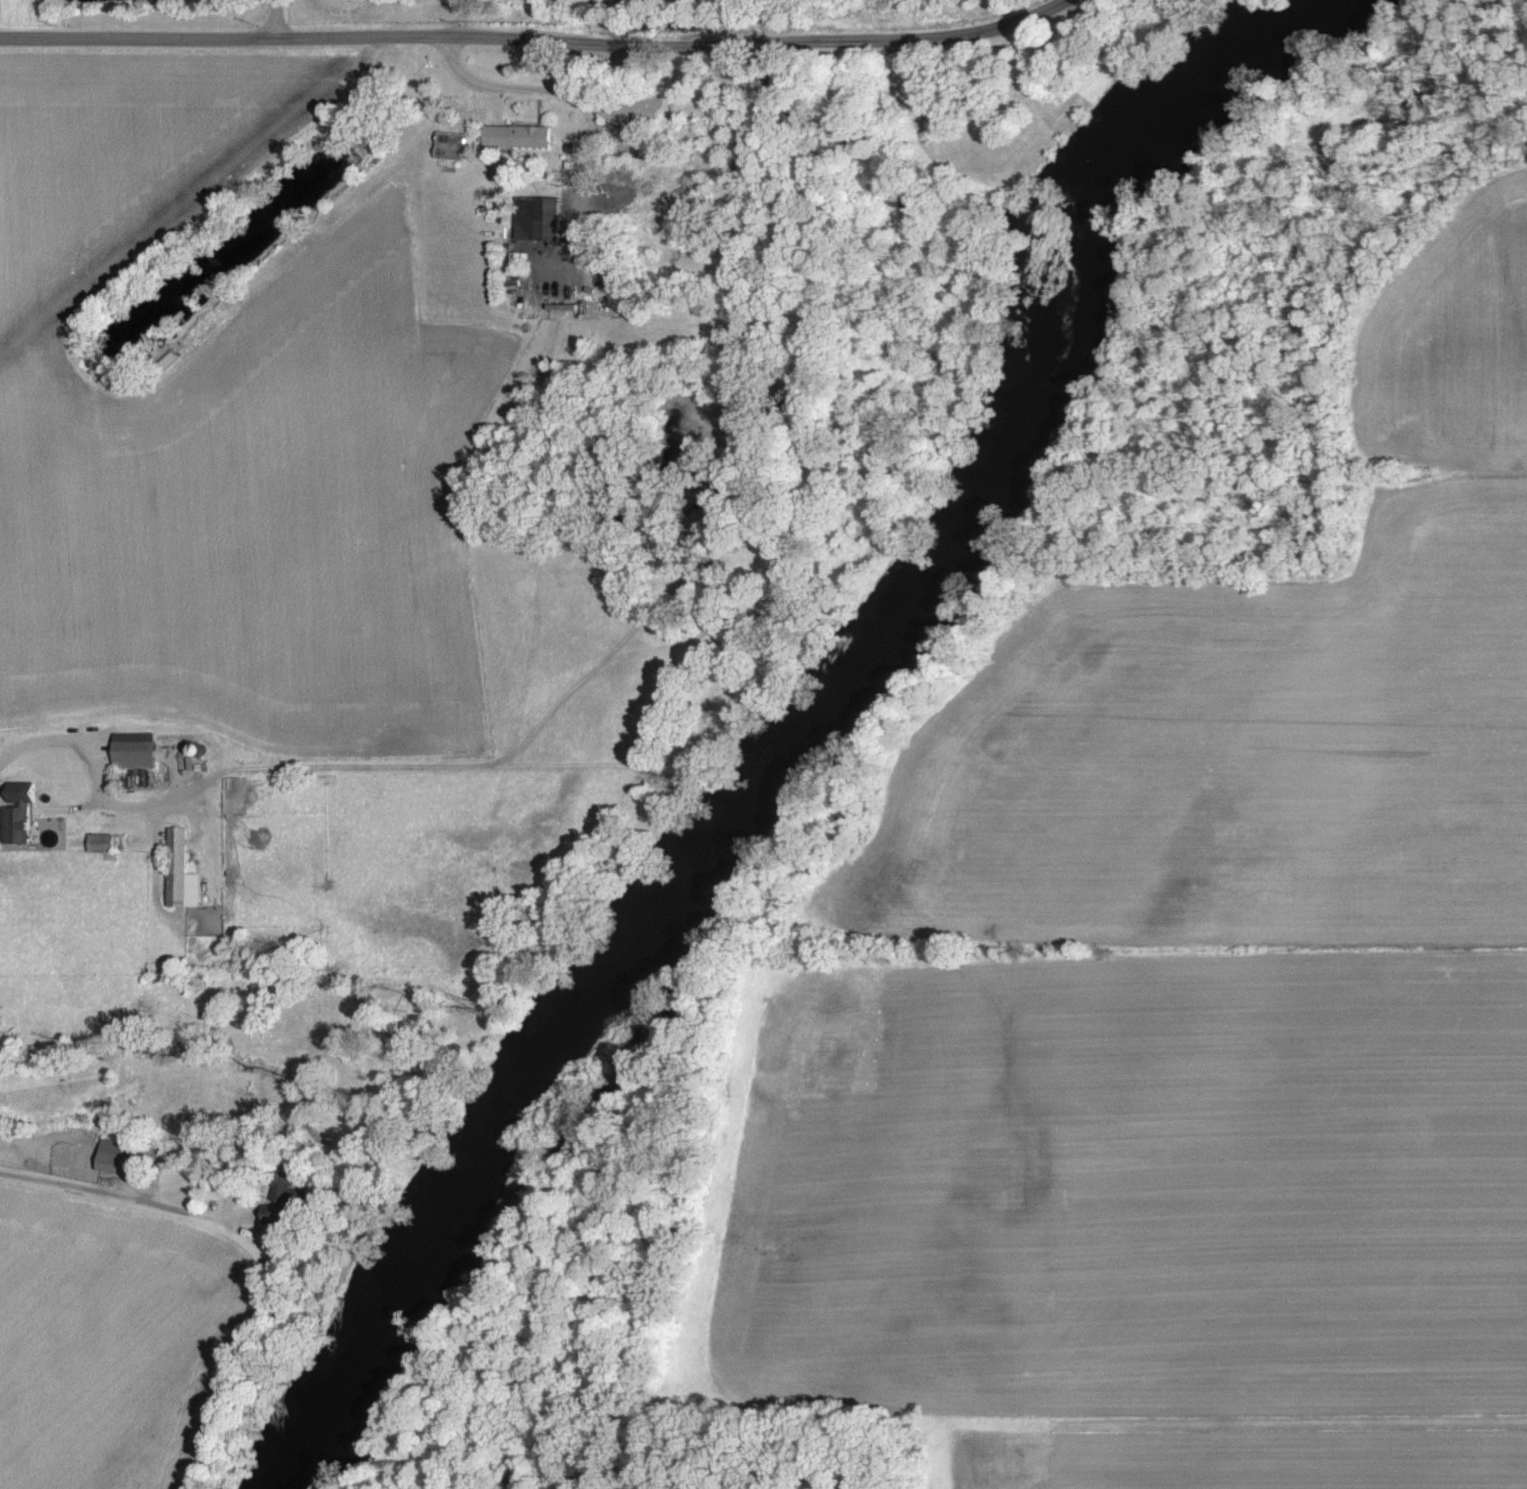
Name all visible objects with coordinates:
road: (276, 18)
road: (138, 37)
road: (671, 46)
road: (494, 104)
road: (580, 108)
building: (515, 134)
building: (446, 145)
building: (534, 218)
parking lot: (548, 271)
building: (558, 306)
building: (160, 356)
road: (1419, 483)
river: (812, 735)
building: (128, 749)
building: (13, 809)
building: (96, 842)
building: (177, 870)
building: (108, 1156)
building: (274, 1194)

